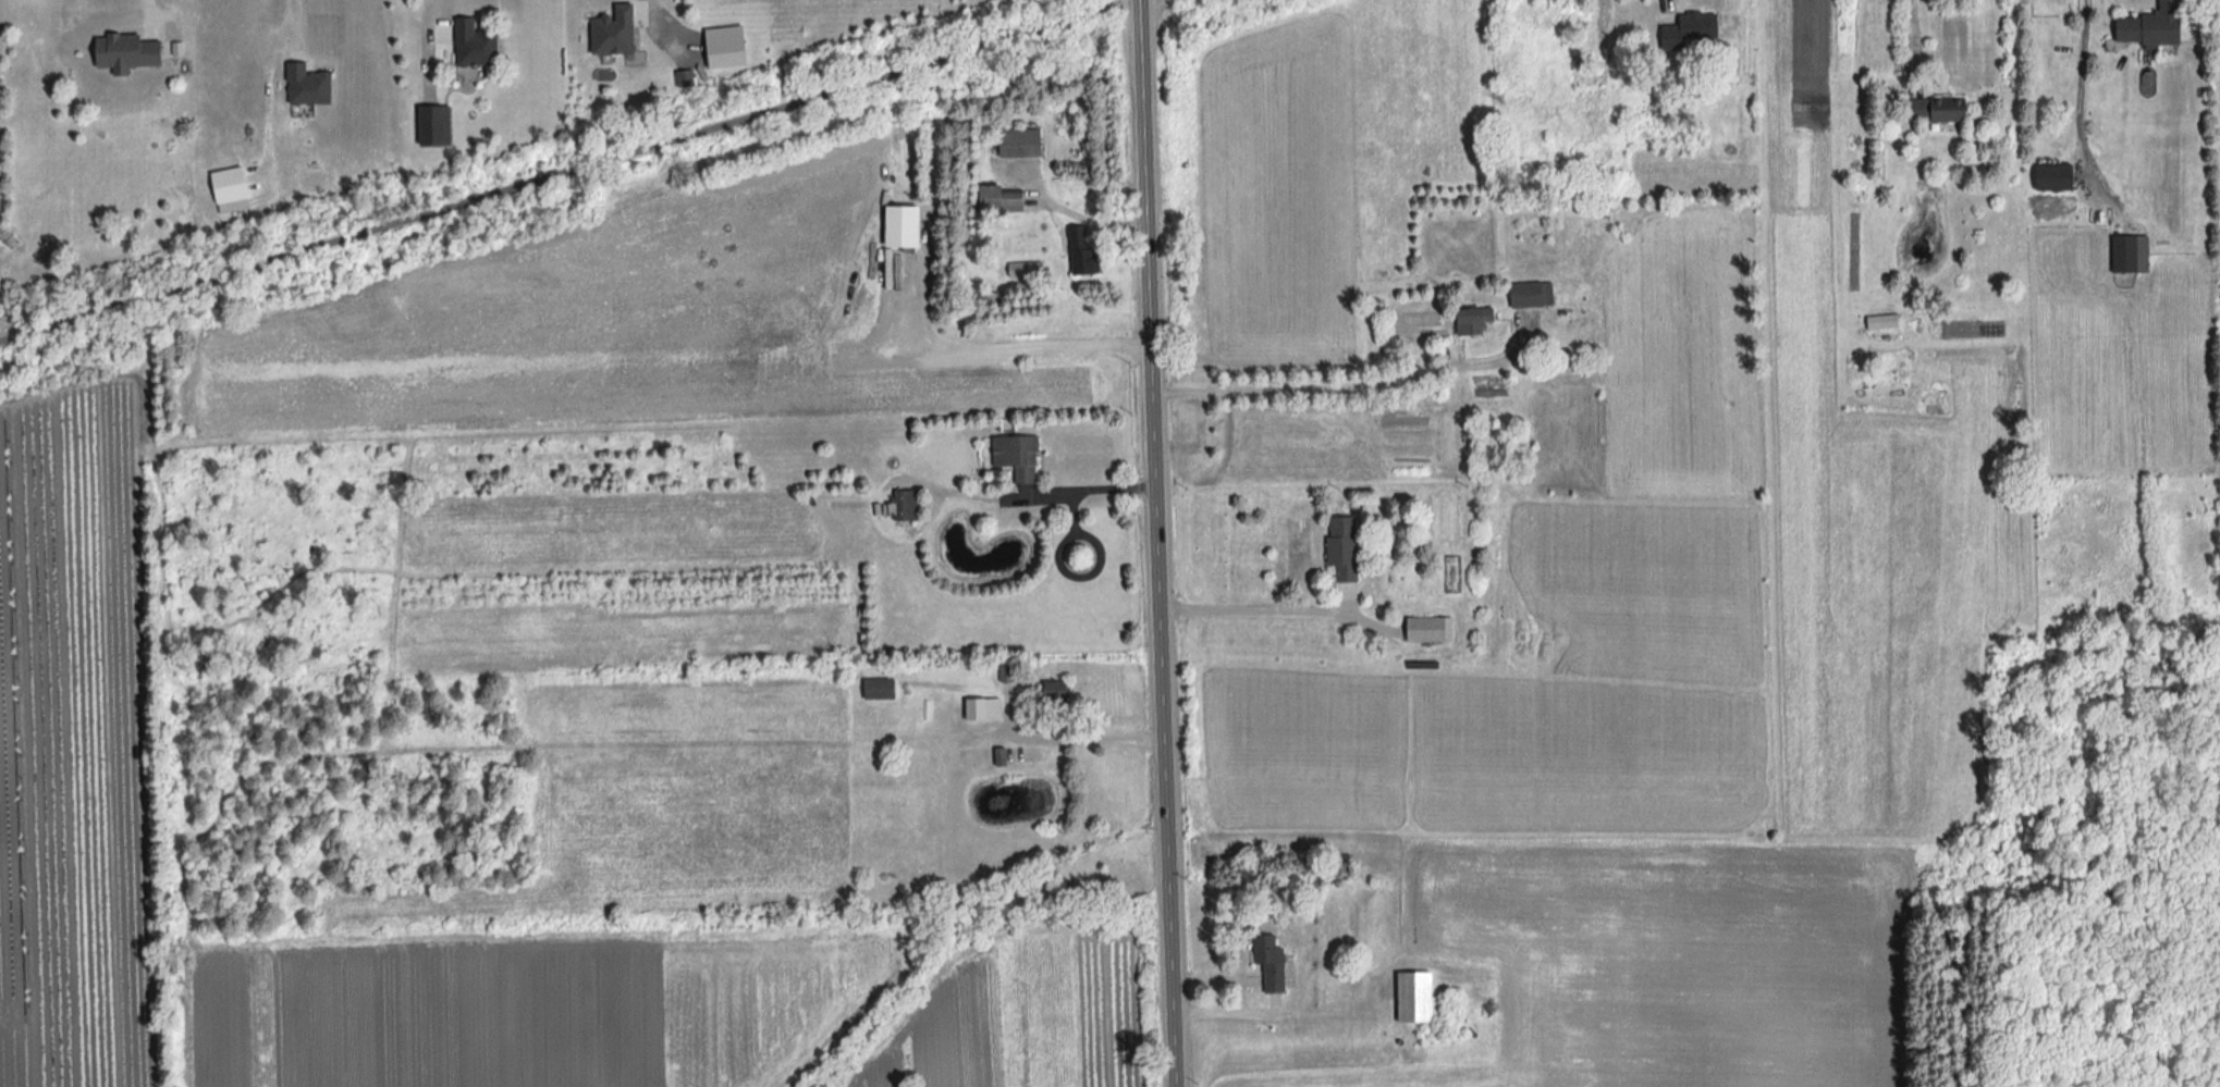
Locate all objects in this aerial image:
road: (1671, 4)
road: (297, 23)
building: (1694, 25)
building: (2157, 25)
building: (471, 28)
building: (617, 29)
road: (669, 29)
road: (1915, 45)
building: (312, 83)
road: (2084, 100)
building: (1947, 109)
building: (1026, 141)
crop: (1327, 162)
road: (559, 173)
building: (2060, 175)
building: (234, 184)
building: (1006, 198)
building: (908, 225)
power tower: (11, 245)
building: (2130, 252)
building: (1534, 293)
building: (1480, 319)
building: (1888, 321)
crop: (610, 323)
road: (983, 345)
road: (1352, 388)
building: (1013, 450)
road: (947, 490)
road: (1075, 514)
road: (1154, 543)
building: (1348, 546)
road: (1064, 549)
road: (1253, 607)
crop: (1578, 610)
building: (1435, 628)
crop: (650, 669)
building: (883, 688)
building: (988, 708)
road: (1080, 741)
crop: (76, 748)
crop: (1658, 961)
building: (1276, 962)
building: (1425, 998)
crop: (545, 1006)
road: (1224, 1010)
crop: (1020, 1016)

